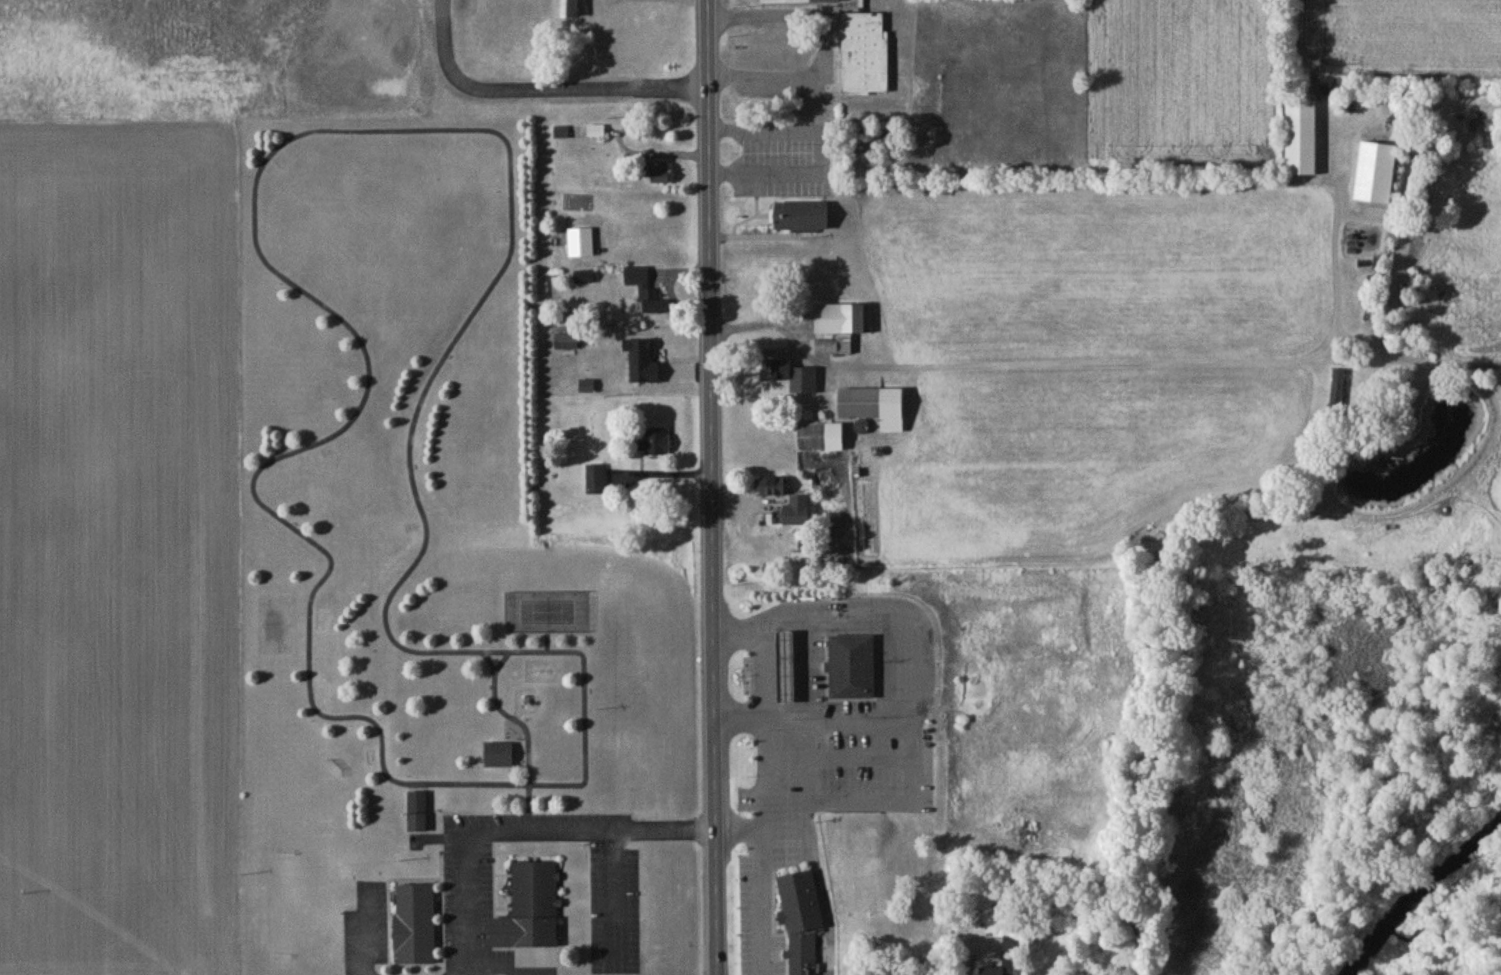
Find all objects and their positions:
building: (800, 3)
building: (568, 9)
road: (827, 53)
building: (865, 56)
road: (543, 87)
road: (343, 131)
building: (596, 133)
road: (828, 137)
building: (1303, 142)
building: (660, 174)
building: (803, 219)
building: (581, 245)
building: (585, 279)
building: (645, 291)
building: (841, 322)
building: (567, 344)
building: (834, 350)
road: (1415, 363)
road: (1088, 367)
building: (794, 379)
building: (660, 385)
building: (588, 389)
building: (1338, 394)
building: (875, 409)
building: (822, 440)
building: (658, 444)
building: (596, 482)
road: (712, 487)
building: (772, 489)
building: (798, 514)
park: (419, 534)
road: (906, 666)
building: (788, 668)
building: (853, 668)
road: (586, 744)
building: (499, 757)
road: (868, 802)
building: (418, 814)
road: (675, 826)
road: (559, 828)
road: (766, 875)
road: (467, 898)
building: (531, 911)
building: (416, 927)
road: (366, 936)
road: (969, 953)
parking lot: (471, 955)
building: (803, 955)
building: (1009, 957)
road: (500, 972)

